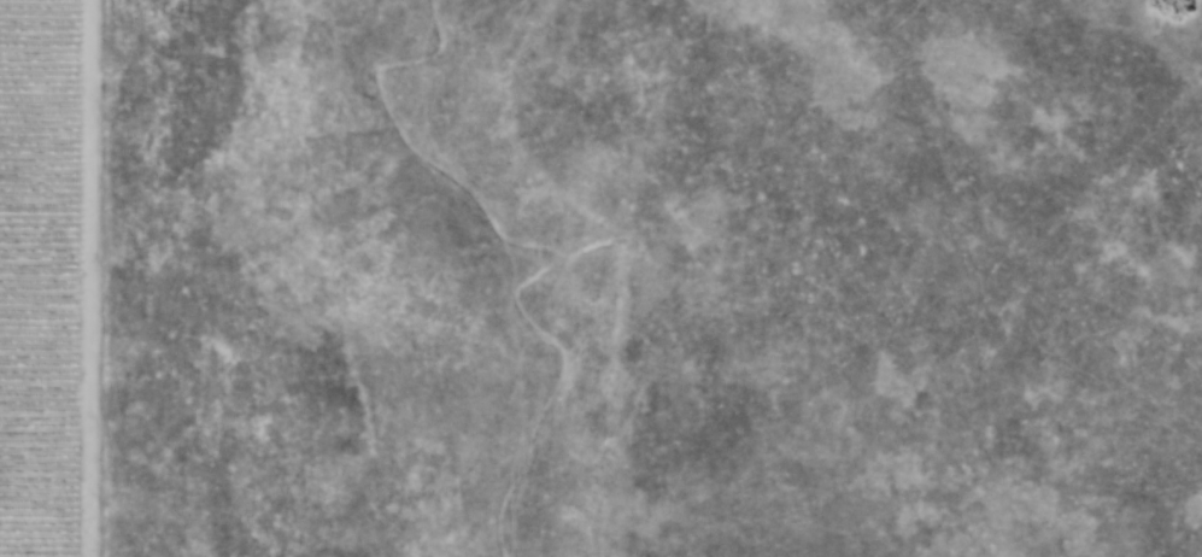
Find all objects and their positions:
road: (95, 278)

